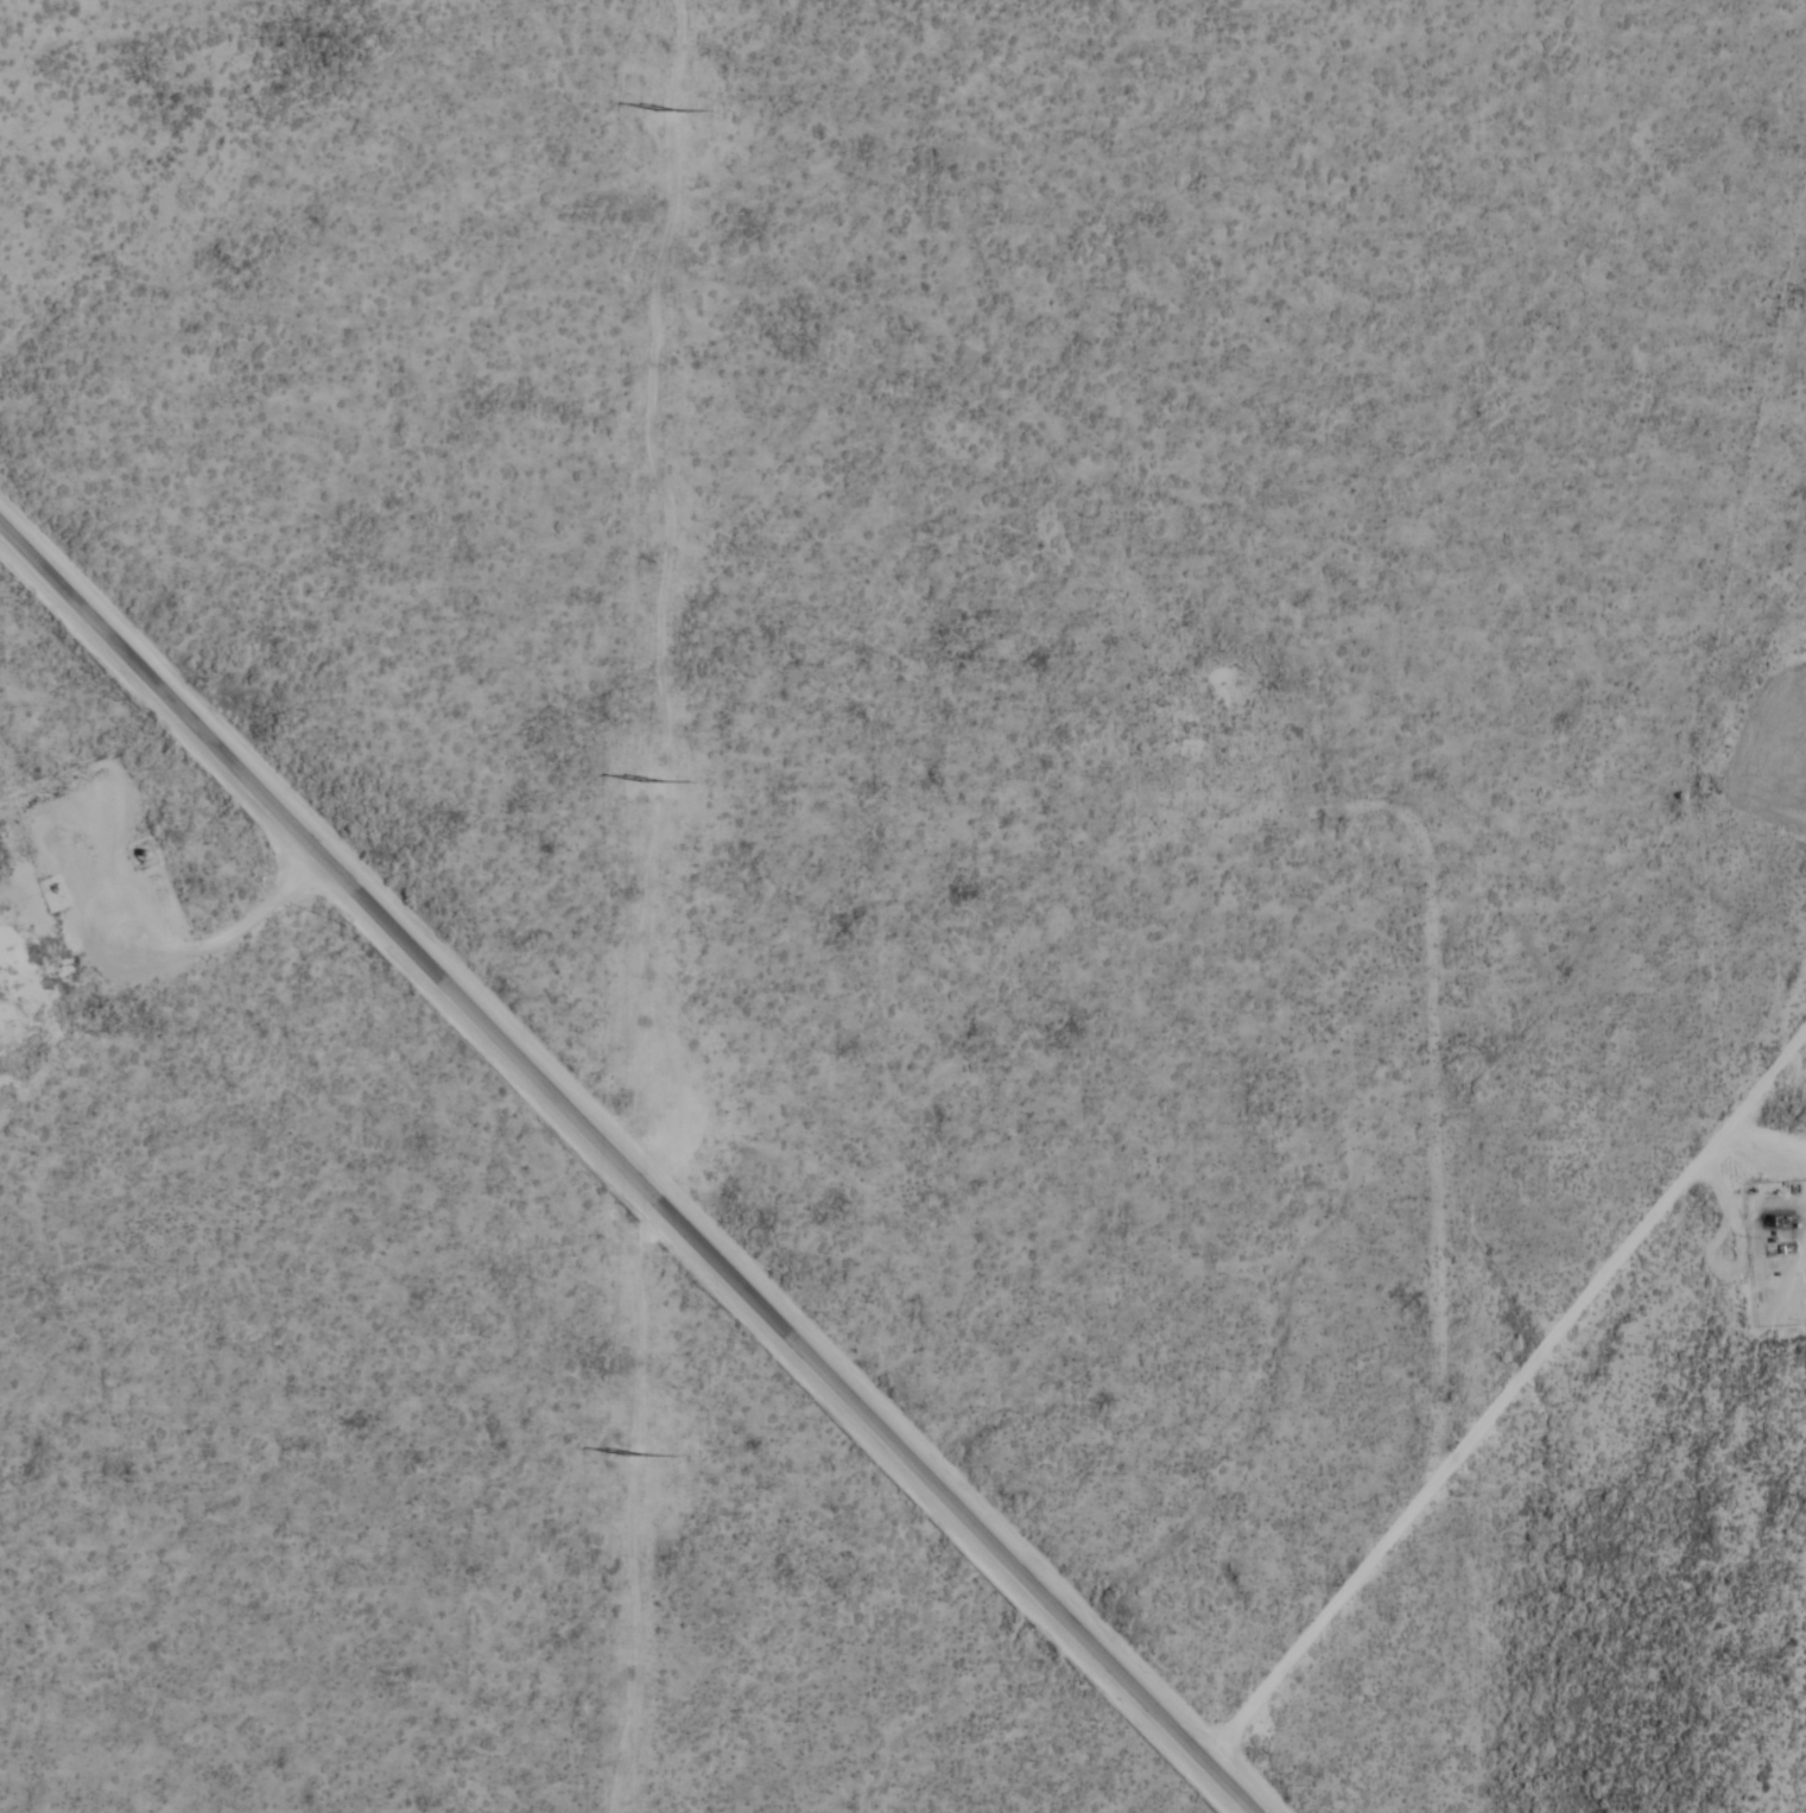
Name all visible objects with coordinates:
power tower: (663, 113)
power tower: (646, 779)
road: (220, 939)
road: (1766, 1150)
road: (626, 1168)
road: (1506, 1396)
power tower: (629, 1454)

